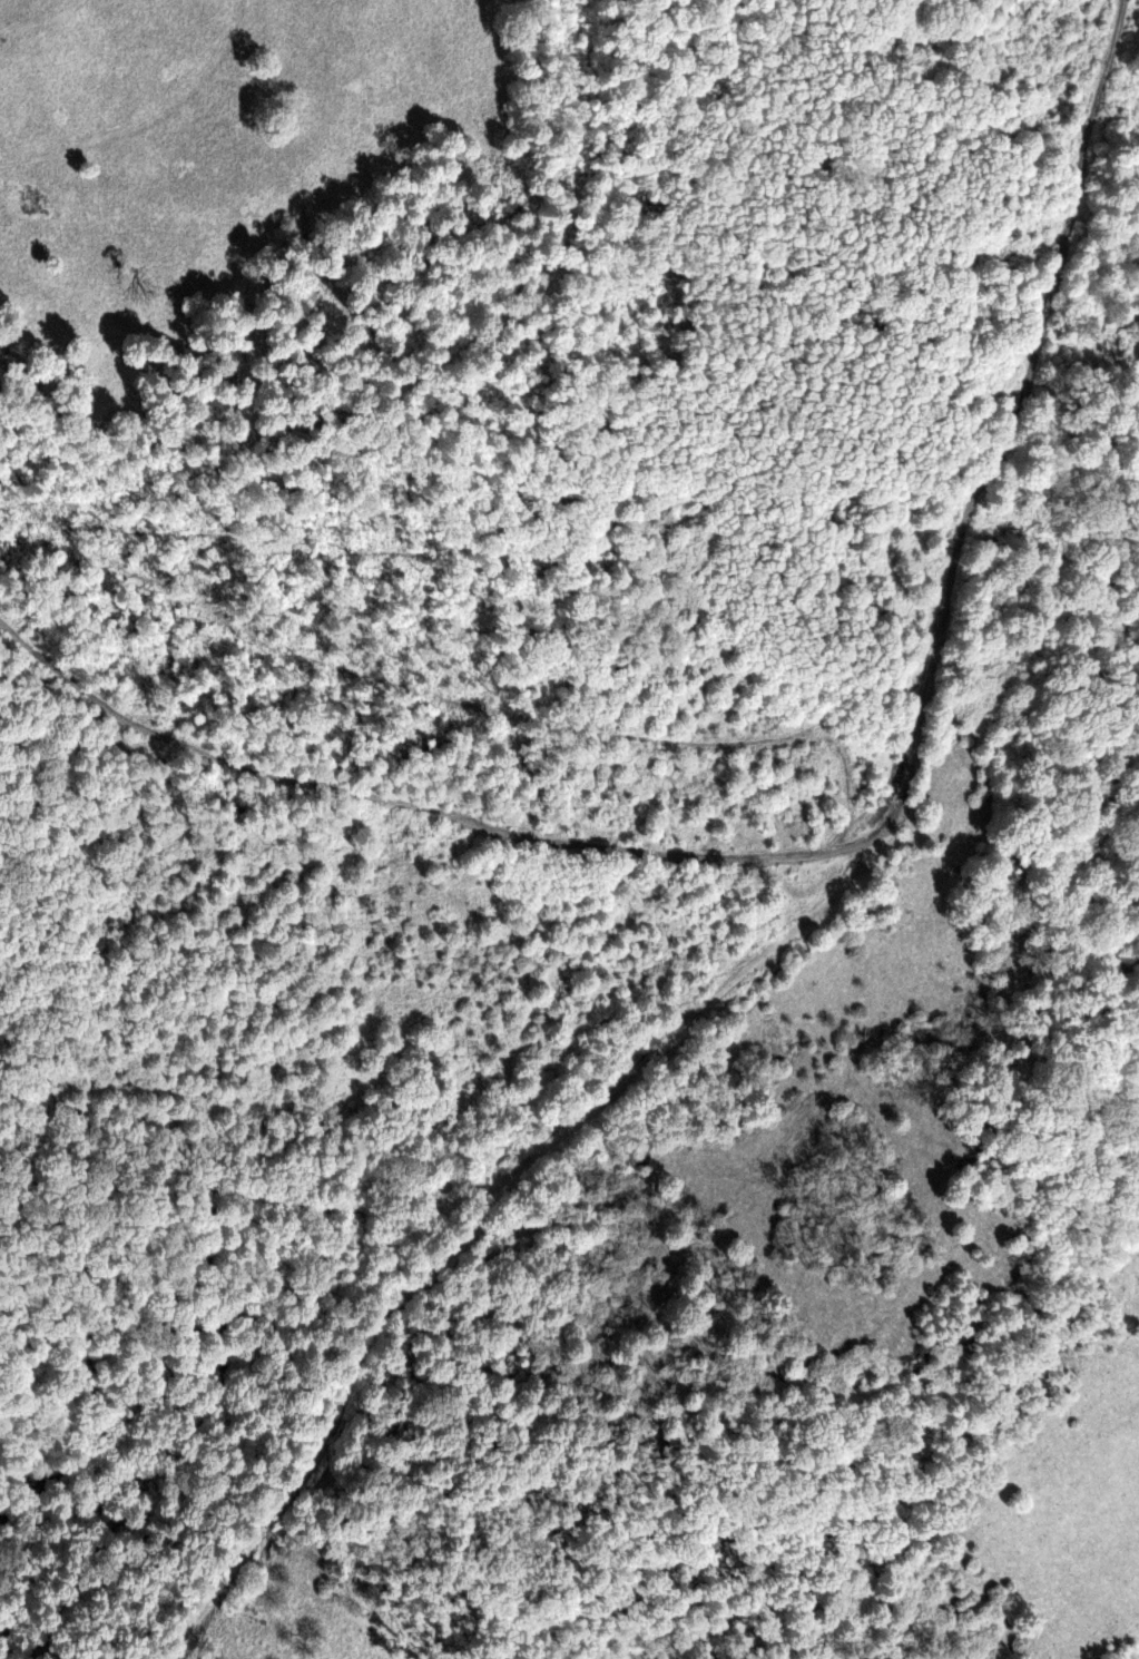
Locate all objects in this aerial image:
road: (852, 842)

